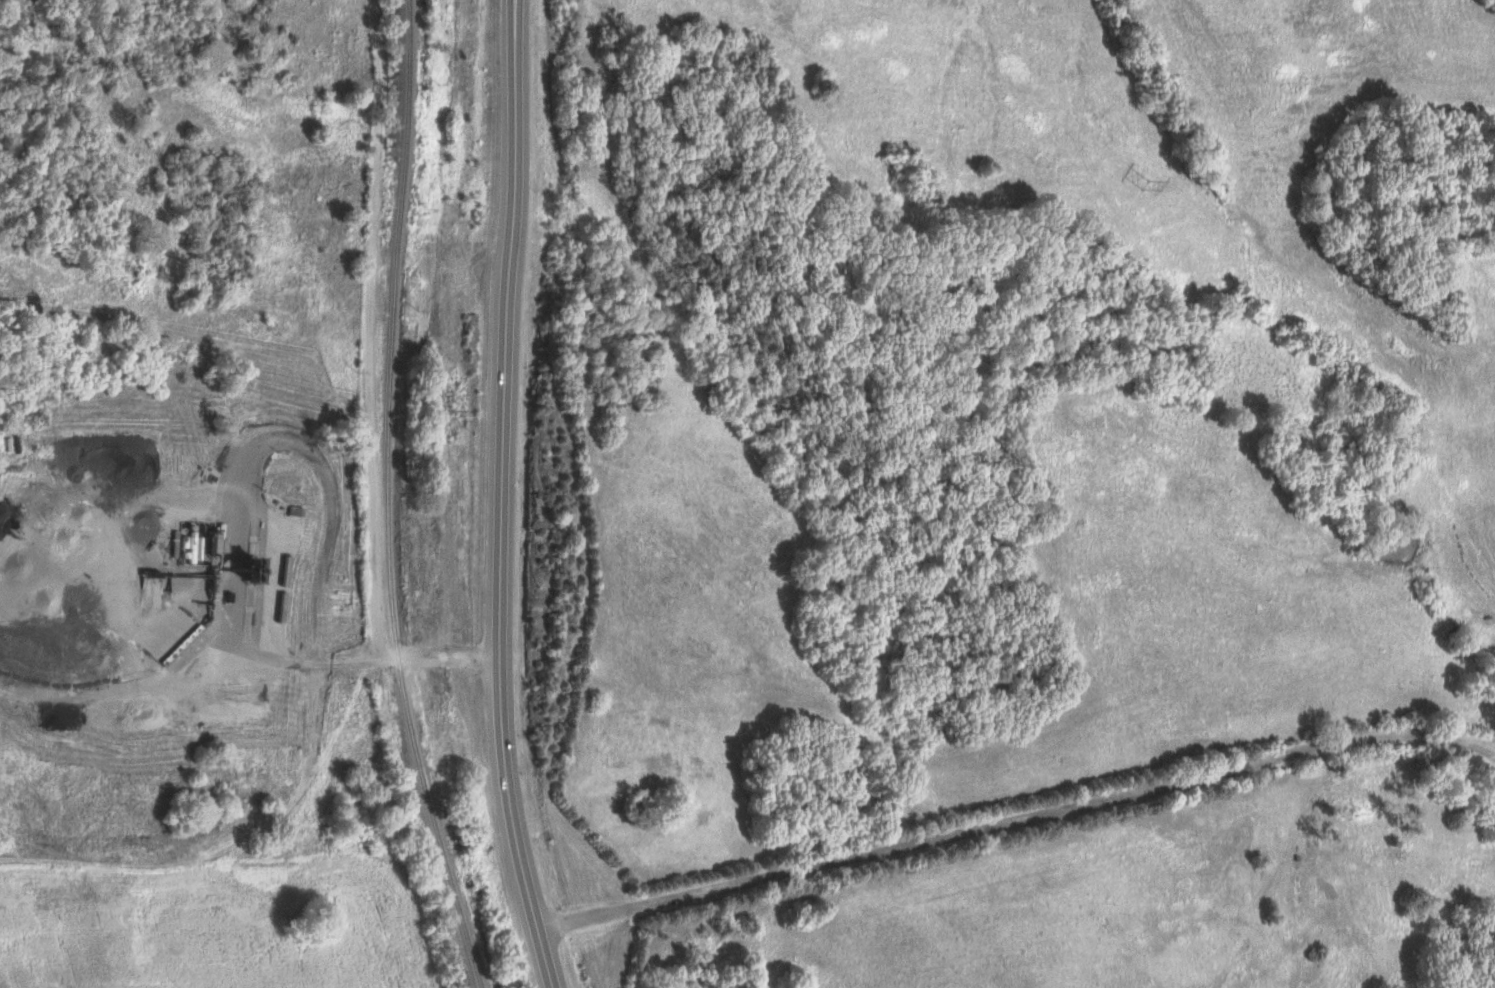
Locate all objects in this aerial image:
road: (369, 327)
road: (503, 497)
railway: (387, 499)
road: (383, 654)
road: (1020, 818)

